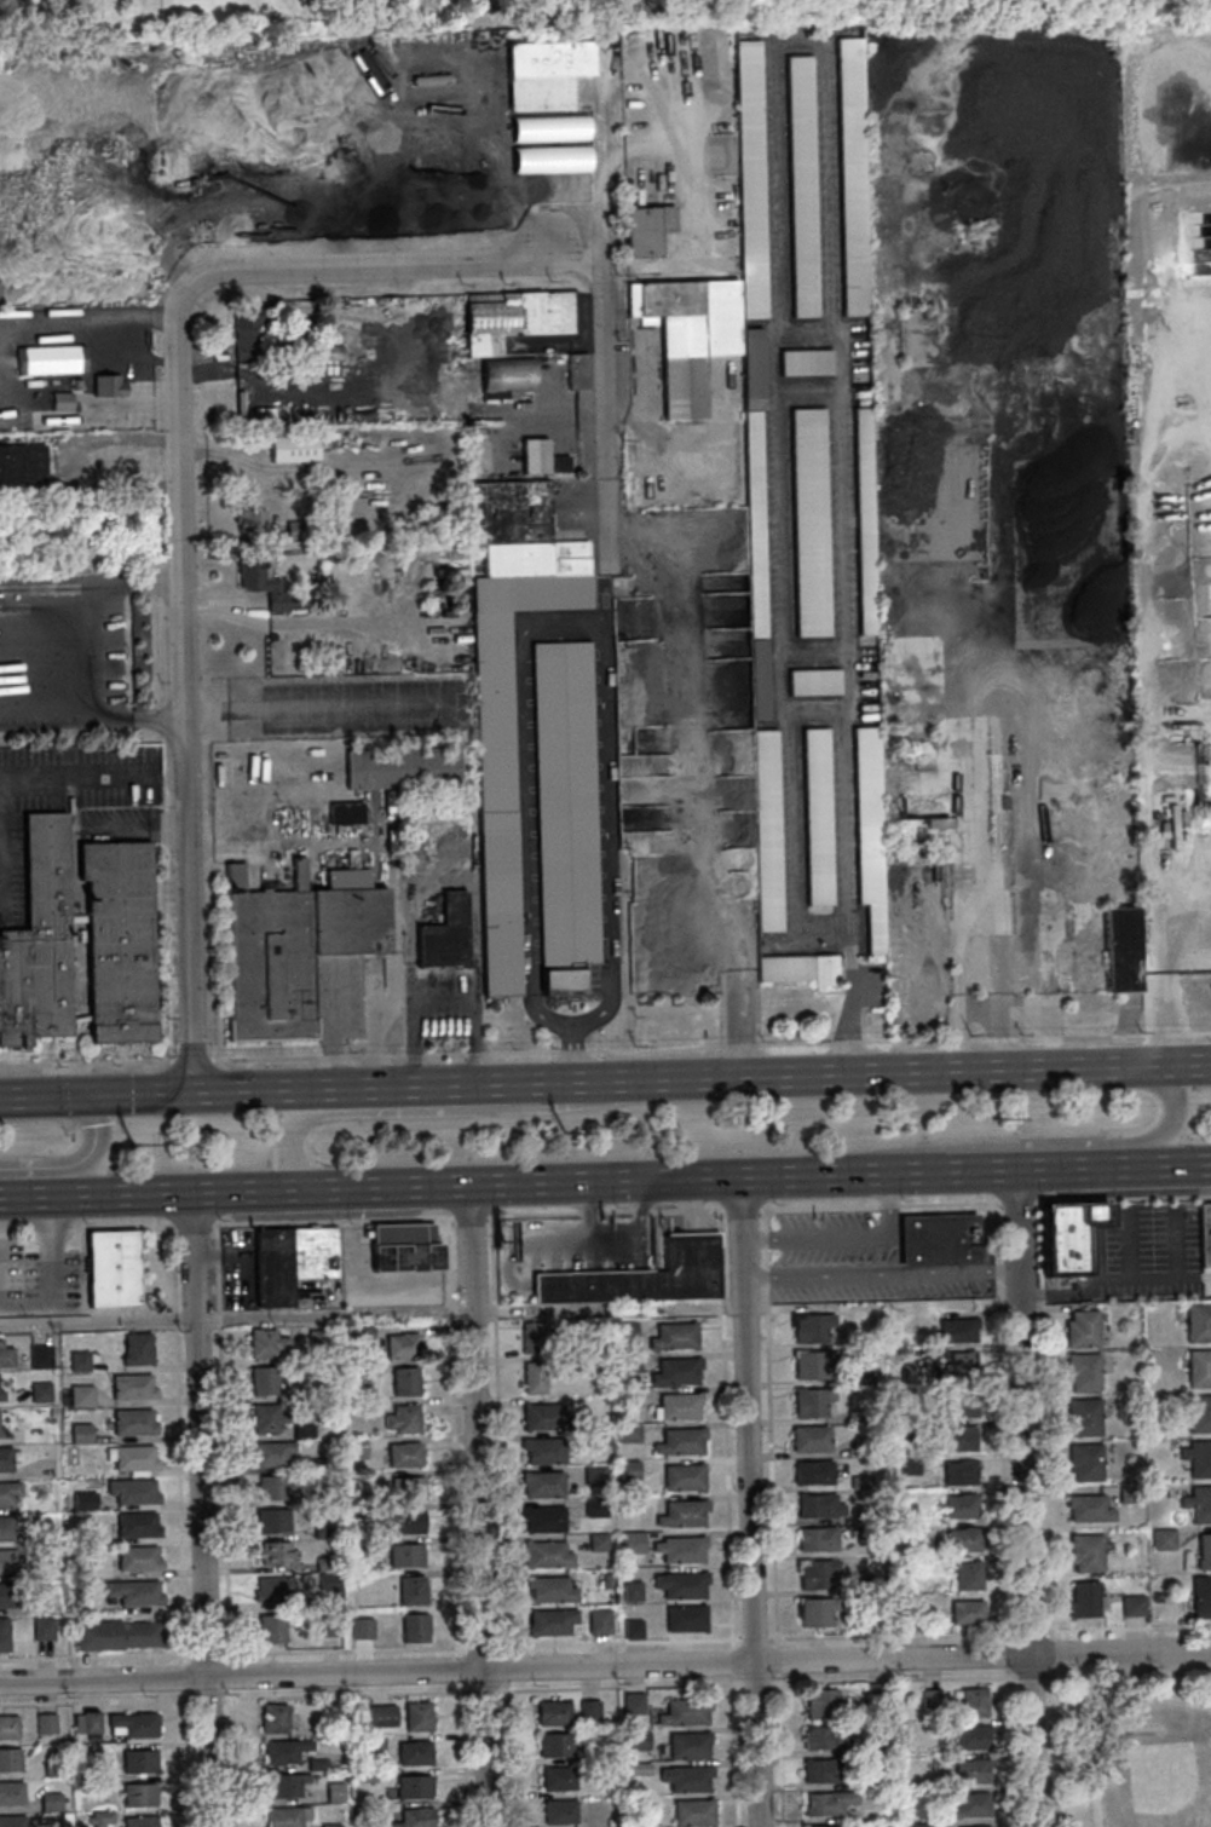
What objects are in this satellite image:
building: (547, 73)
road: (604, 150)
building: (751, 160)
building: (853, 177)
building: (802, 186)
road: (696, 208)
building: (647, 230)
road: (381, 269)
building: (249, 332)
building: (108, 341)
building: (484, 345)
building: (807, 363)
building: (579, 371)
building: (109, 385)
building: (62, 400)
road: (605, 416)
building: (292, 448)
building: (543, 457)
building: (23, 465)
building: (252, 519)
building: (866, 521)
building: (811, 523)
building: (756, 524)
building: (264, 583)
road: (564, 619)
road: (77, 652)
building: (815, 682)
building: (511, 688)
road: (183, 698)
road: (318, 704)
building: (404, 768)
road: (92, 778)
building: (921, 812)
building: (347, 813)
building: (566, 815)
building: (819, 815)
building: (768, 830)
building: (871, 832)
building: (446, 934)
building: (36, 940)
building: (116, 940)
building: (1121, 947)
building: (288, 949)
building: (979, 959)
building: (801, 969)
road: (443, 1012)
road: (740, 1022)
road: (605, 1053)
road: (570, 1056)
road: (877, 1072)
road: (433, 1085)
road: (207, 1091)
road: (46, 1095)
traffic signals: (92, 1095)
road: (438, 1111)
power tower: (996, 1124)
power tower: (567, 1139)
road: (1034, 1143)
power tower: (134, 1149)
road: (75, 1163)
road: (1178, 1165)
road: (981, 1170)
road: (439, 1183)
road: (30, 1197)
road: (605, 1214)
building: (1089, 1216)
building: (1203, 1235)
road: (846, 1238)
building: (935, 1240)
road: (613, 1243)
building: (1060, 1243)
road: (521, 1244)
building: (402, 1247)
building: (310, 1252)
parking lot: (855, 1262)
power substation: (390, 1264)
road: (525, 1264)
building: (110, 1268)
building: (270, 1268)
road: (880, 1274)
road: (50, 1275)
building: (640, 1275)
parking lot: (36, 1280)
road: (1113, 1281)
road: (77, 1309)
road: (300, 1315)
building: (1196, 1324)
building: (809, 1327)
building: (956, 1329)
building: (1080, 1330)
building: (625, 1331)
building: (358, 1333)
building: (531, 1337)
building: (673, 1337)
building: (316, 1339)
building: (263, 1343)
building: (878, 1343)
building: (399, 1345)
building: (135, 1349)
building: (38, 1356)
building: (5, 1358)
building: (76, 1361)
building: (624, 1362)
building: (959, 1362)
building: (811, 1364)
building: (1198, 1370)
building: (1082, 1371)
building: (674, 1372)
building: (351, 1373)
building: (858, 1374)
building: (531, 1377)
building: (261, 1381)
building: (402, 1382)
building: (129, 1387)
building: (39, 1391)
building: (300, 1394)
building: (0, 1396)
building: (79, 1396)
building: (625, 1397)
building: (809, 1401)
building: (676, 1406)
building: (959, 1406)
building: (354, 1407)
building: (52, 1411)
building: (855, 1414)
building: (1198, 1414)
building: (542, 1417)
building: (1083, 1417)
building: (264, 1419)
building: (400, 1419)
building: (131, 1423)
road: (768, 1428)
road: (723, 1429)
building: (301, 1431)
building: (1, 1433)
building: (627, 1433)
building: (79, 1434)
building: (808, 1439)
building: (957, 1439)
building: (679, 1441)
building: (860, 1446)
building: (354, 1448)
road: (496, 1448)
building: (541, 1451)
building: (269, 1453)
building: (402, 1454)
building: (132, 1458)
building: (1198, 1458)
building: (4, 1459)
building: (1085, 1462)
building: (318, 1465)
building: (906, 1465)
building: (627, 1470)
building: (812, 1472)
building: (958, 1472)
building: (593, 1475)
building: (681, 1477)
building: (1151, 1477)
building: (859, 1481)
building: (540, 1485)
building: (269, 1487)
building: (404, 1488)
building: (131, 1491)
building: (7, 1493)
building: (1129, 1494)
building: (307, 1498)
road: (1025, 1498)
building: (81, 1500)
road: (749, 1502)
road: (477, 1504)
building: (817, 1505)
building: (1199, 1505)
building: (959, 1506)
building: (593, 1508)
building: (1088, 1508)
road: (201, 1509)
building: (356, 1509)
building: (681, 1514)
road: (1004, 1515)
building: (540, 1518)
building: (269, 1520)
building: (404, 1522)
road: (455, 1522)
building: (134, 1525)
road: (179, 1525)
road: (224, 1525)
building: (5, 1528)
building: (321, 1532)
building: (817, 1539)
building: (962, 1540)
building: (1163, 1540)
building: (595, 1541)
building: (630, 1543)
building: (679, 1549)
building: (272, 1552)
building: (1086, 1552)
building: (1204, 1552)
building: (403, 1554)
building: (543, 1555)
building: (135, 1558)
building: (6, 1561)
building: (322, 1563)
building: (815, 1574)
building: (967, 1575)
building: (605, 1580)
building: (857, 1581)
building: (327, 1583)
building: (679, 1585)
building: (271, 1589)
building: (548, 1589)
building: (409, 1591)
building: (630, 1591)
building: (132, 1592)
building: (7, 1596)
building: (1155, 1597)
building: (1200, 1597)
building: (1084, 1601)
building: (1132, 1606)
building: (815, 1610)
building: (965, 1613)
building: (906, 1615)
building: (872, 1616)
building: (682, 1619)
building: (548, 1621)
building: (598, 1621)
building: (324, 1626)
building: (630, 1626)
building: (359, 1627)
building: (42, 1629)
building: (411, 1629)
building: (269, 1630)
building: (2, 1636)
building: (114, 1636)
road: (605, 1642)
road: (775, 1660)
road: (732, 1662)
road: (605, 1665)
road: (765, 1683)
building: (876, 1693)
building: (930, 1698)
building: (975, 1701)
building: (634, 1702)
building: (823, 1702)
building: (329, 1710)
building: (589, 1710)
road: (1094, 1710)
building: (685, 1711)
building: (552, 1712)
building: (381, 1716)
building: (417, 1716)
building: (273, 1717)
building: (90, 1721)
building: (79, 1722)
building: (45, 1723)
building: (133, 1724)
building: (8, 1725)
building: (92, 1736)
building: (824, 1736)
building: (973, 1736)
building: (638, 1740)
building: (373, 1741)
building: (555, 1745)
building: (688, 1745)
building: (877, 1746)
road: (779, 1750)
building: (283, 1751)
road: (734, 1751)
building: (415, 1752)
park: (1131, 1752)
road: (506, 1753)
building: (10, 1759)
building: (138, 1762)
building: (316, 1763)
building: (52, 1767)
building: (639, 1769)
building: (821, 1769)
building: (971, 1769)
building: (365, 1775)
building: (558, 1777)
building: (686, 1777)
park: (1163, 1777)
building: (865, 1781)
building: (284, 1783)
building: (87, 1785)
building: (413, 1787)
building: (11, 1792)
building: (334, 1792)
building: (138, 1794)
building: (923, 1794)
building: (51, 1802)
building: (827, 1802)
building: (969, 1805)
building: (357, 1809)
building: (559, 1811)
building: (693, 1812)
building: (871, 1814)
building: (287, 1816)
building: (99, 1817)
building: (415, 1817)
building: (11, 1821)
building: (138, 1821)
building: (610, 1822)
building: (329, 1825)
building: (829, 1825)
building: (922, 1825)
building: (979, 1826)

